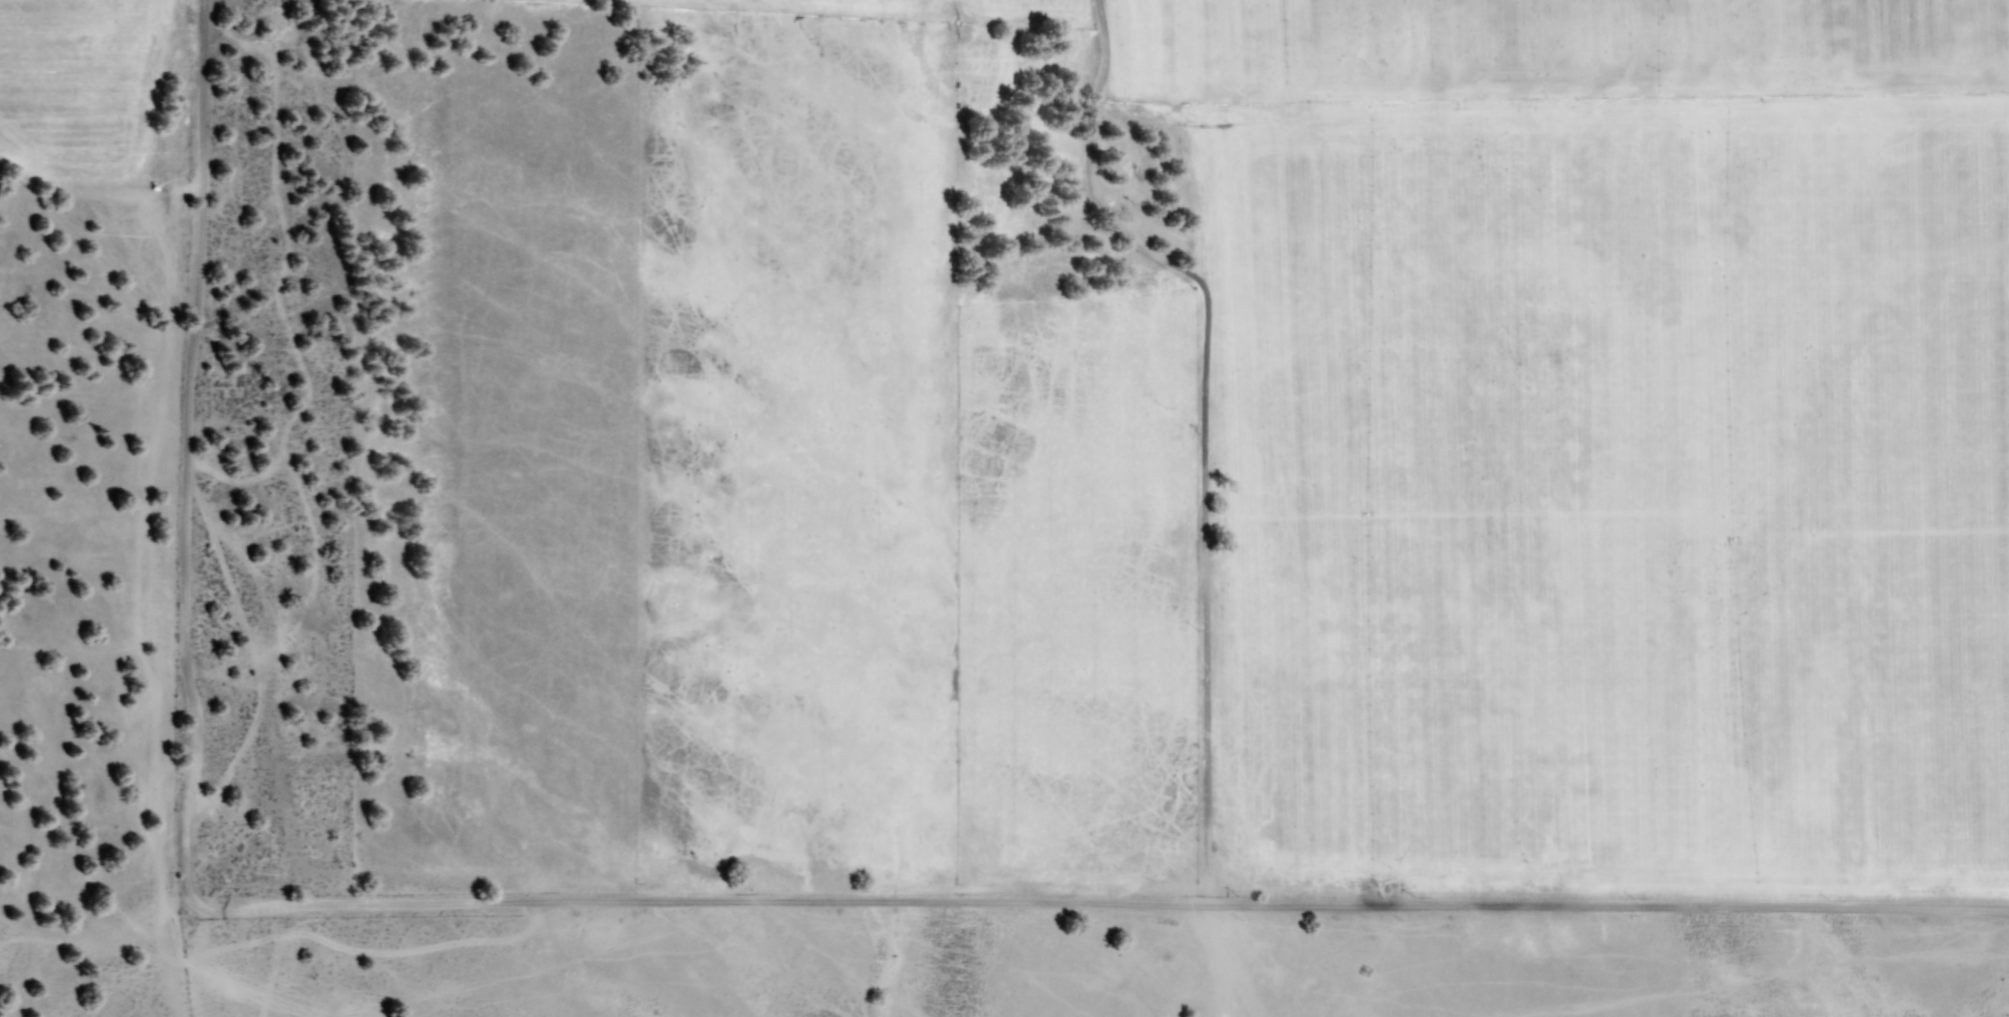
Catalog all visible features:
road: (648, 901)

